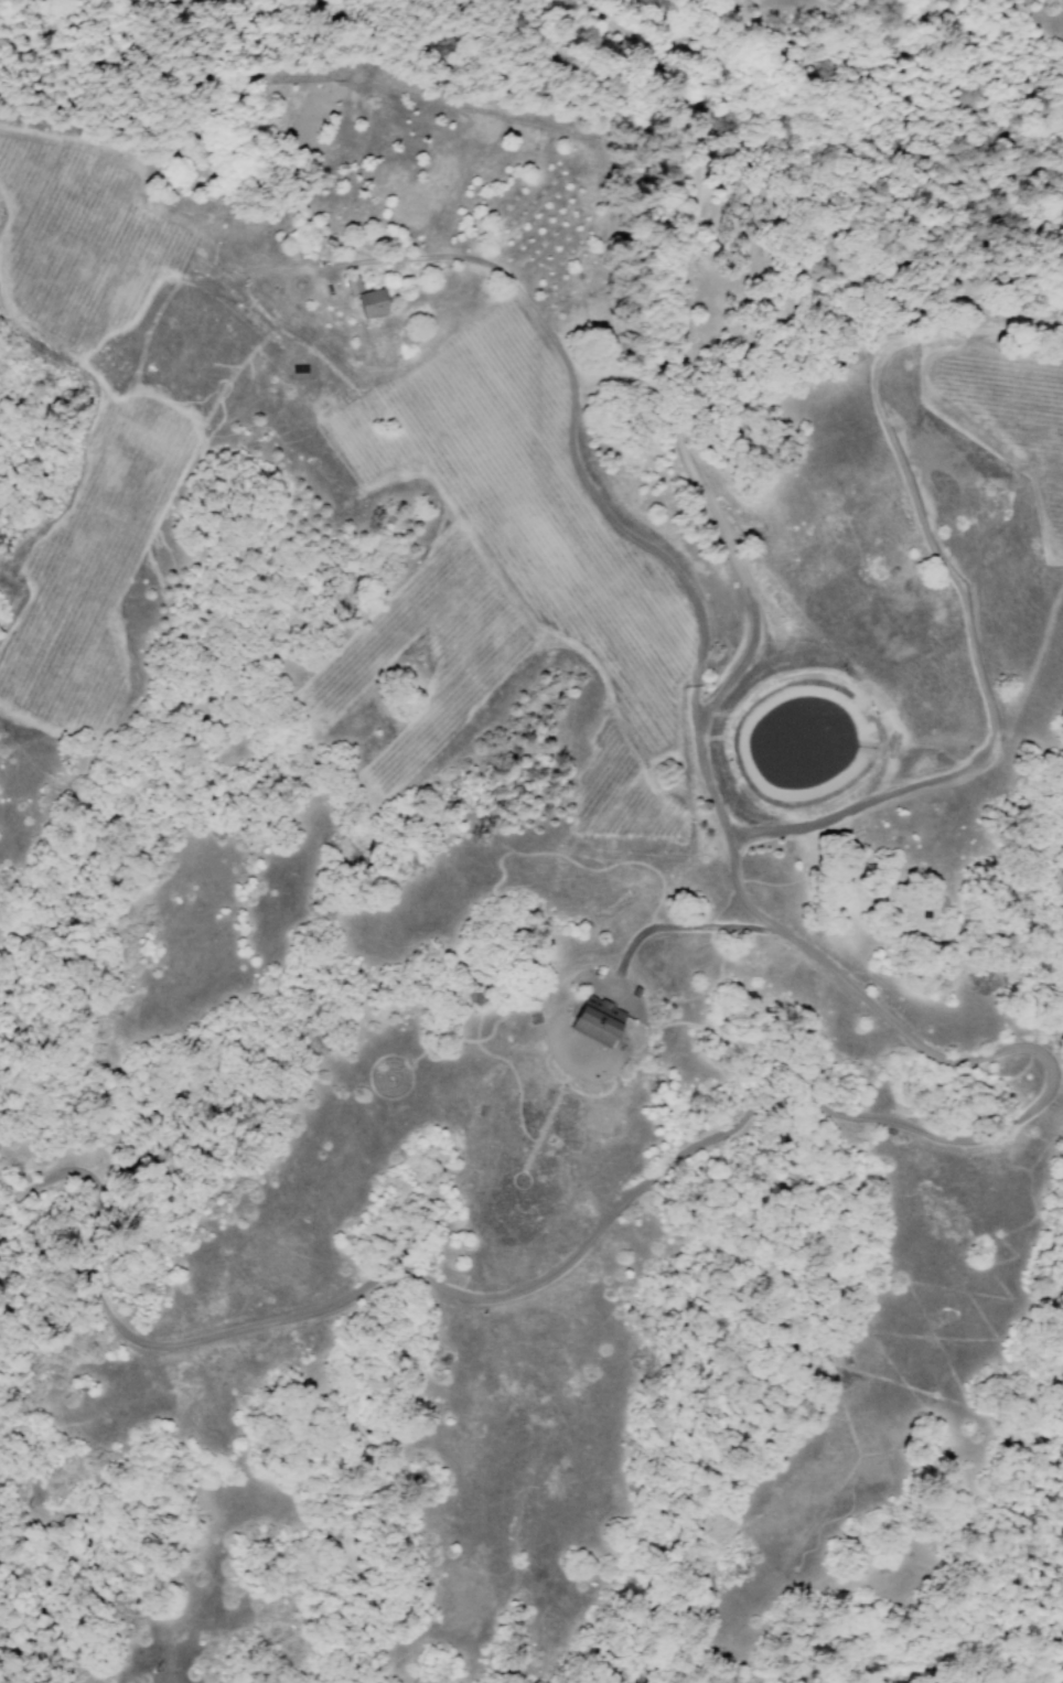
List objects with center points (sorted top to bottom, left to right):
building: (371, 303)
road: (996, 673)
building: (595, 1020)
road: (1051, 1057)

